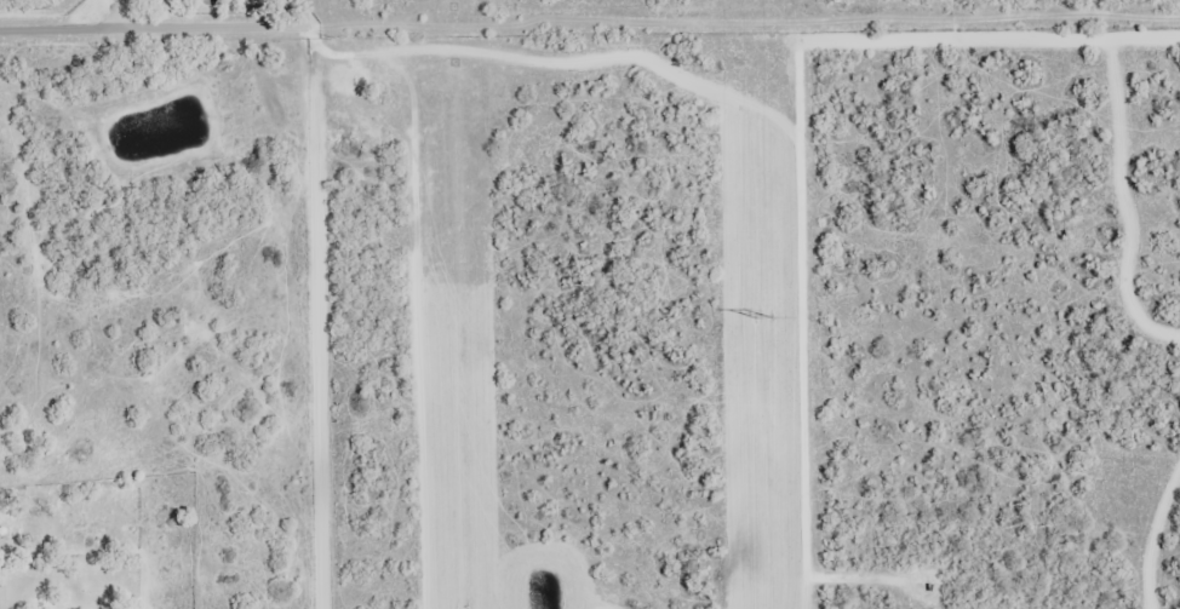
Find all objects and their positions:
road: (65, 18)
road: (746, 245)
power tower: (767, 316)

